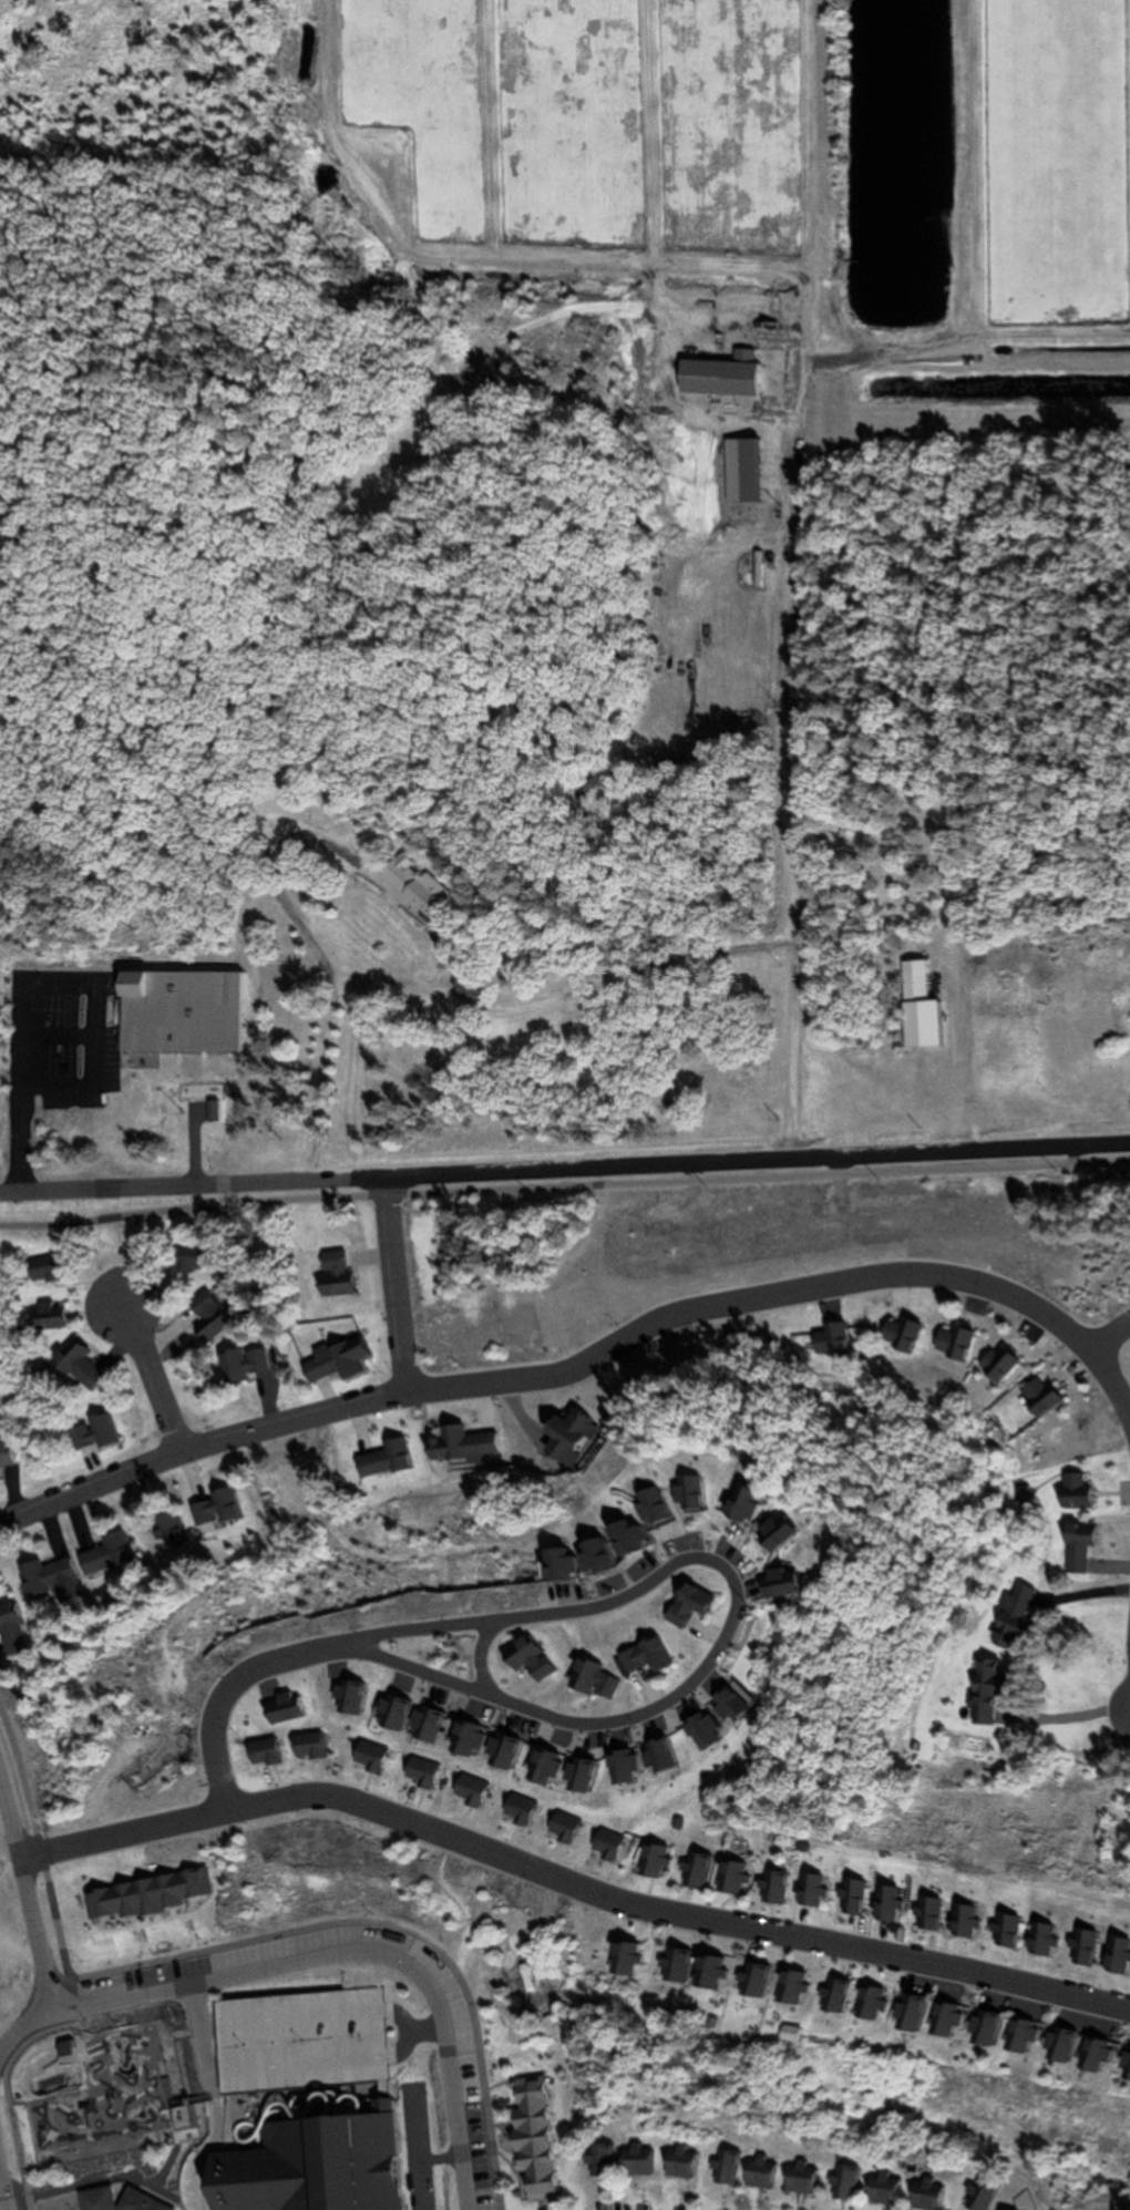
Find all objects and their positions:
building: (716, 377)
building: (737, 472)
road: (784, 785)
building: (408, 886)
building: (464, 987)
road: (459, 998)
building: (915, 1009)
building: (177, 1015)
road: (16, 1089)
road: (564, 1170)
road: (564, 1186)
building: (184, 1261)
building: (35, 1272)
building: (329, 1275)
road: (392, 1285)
building: (42, 1318)
building: (206, 1319)
building: (898, 1334)
road: (1108, 1336)
building: (830, 1340)
building: (951, 1343)
building: (332, 1360)
road: (588, 1363)
building: (994, 1364)
building: (240, 1365)
building: (75, 1368)
road: (151, 1379)
building: (1036, 1396)
building: (89, 1435)
building: (566, 1438)
building: (459, 1445)
building: (4, 1456)
building: (382, 1459)
building: (1071, 1490)
building: (684, 1492)
building: (646, 1505)
building: (733, 1505)
building: (214, 1508)
building: (167, 1530)
building: (767, 1533)
building: (620, 1536)
building: (1075, 1546)
building: (104, 1554)
building: (573, 1561)
building: (45, 1575)
building: (769, 1581)
building: (680, 1604)
road: (727, 1616)
building: (1006, 1617)
building: (10, 1631)
road: (476, 1656)
building: (637, 1656)
building: (522, 1658)
building: (586, 1679)
road: (232, 1689)
building: (979, 1689)
building: (350, 1699)
building: (721, 1705)
building: (281, 1708)
road: (1129, 1713)
building: (387, 1714)
road: (1066, 1718)
building: (419, 1725)
building: (694, 1730)
building: (459, 1740)
building: (305, 1746)
building: (492, 1751)
building: (260, 1752)
building: (363, 1757)
building: (649, 1757)
building: (162, 1758)
building: (615, 1766)
building: (533, 1767)
building: (412, 1772)
building: (569, 1776)
building: (507, 1809)
building: (556, 1828)
building: (604, 1846)
road: (41, 1860)
building: (654, 1861)
building: (695, 1872)
building: (732, 1879)
road: (569, 1884)
building: (773, 1888)
building: (809, 1891)
building: (143, 1895)
building: (850, 1899)
road: (25, 1901)
building: (885, 1905)
building: (929, 1915)
road: (376, 1921)
building: (965, 1922)
building: (1004, 1931)
building: (1039, 1940)
building: (1079, 1947)
road: (355, 1951)
building: (1117, 1957)
building: (627, 1959)
building: (678, 1967)
building: (707, 1973)
building: (753, 1982)
building: (788, 1988)
building: (831, 1996)
building: (865, 2004)
building: (902, 2016)
building: (941, 2021)
road: (20, 2026)
building: (979, 2028)
building: (1016, 2037)
building: (300, 2042)
building: (1057, 2045)
building: (1092, 2057)
building: (1128, 2068)
building: (178, 2117)
building: (528, 2138)
building: (599, 2160)
building: (633, 2160)
building: (327, 2161)
building: (676, 2162)
building: (725, 2167)
building: (754, 2172)
building: (795, 2178)
building: (842, 2183)
building: (880, 2189)
building: (923, 2194)
road: (2, 2196)
building: (977, 2196)
building: (93, 2199)
building: (135, 2202)
building: (1018, 2209)

